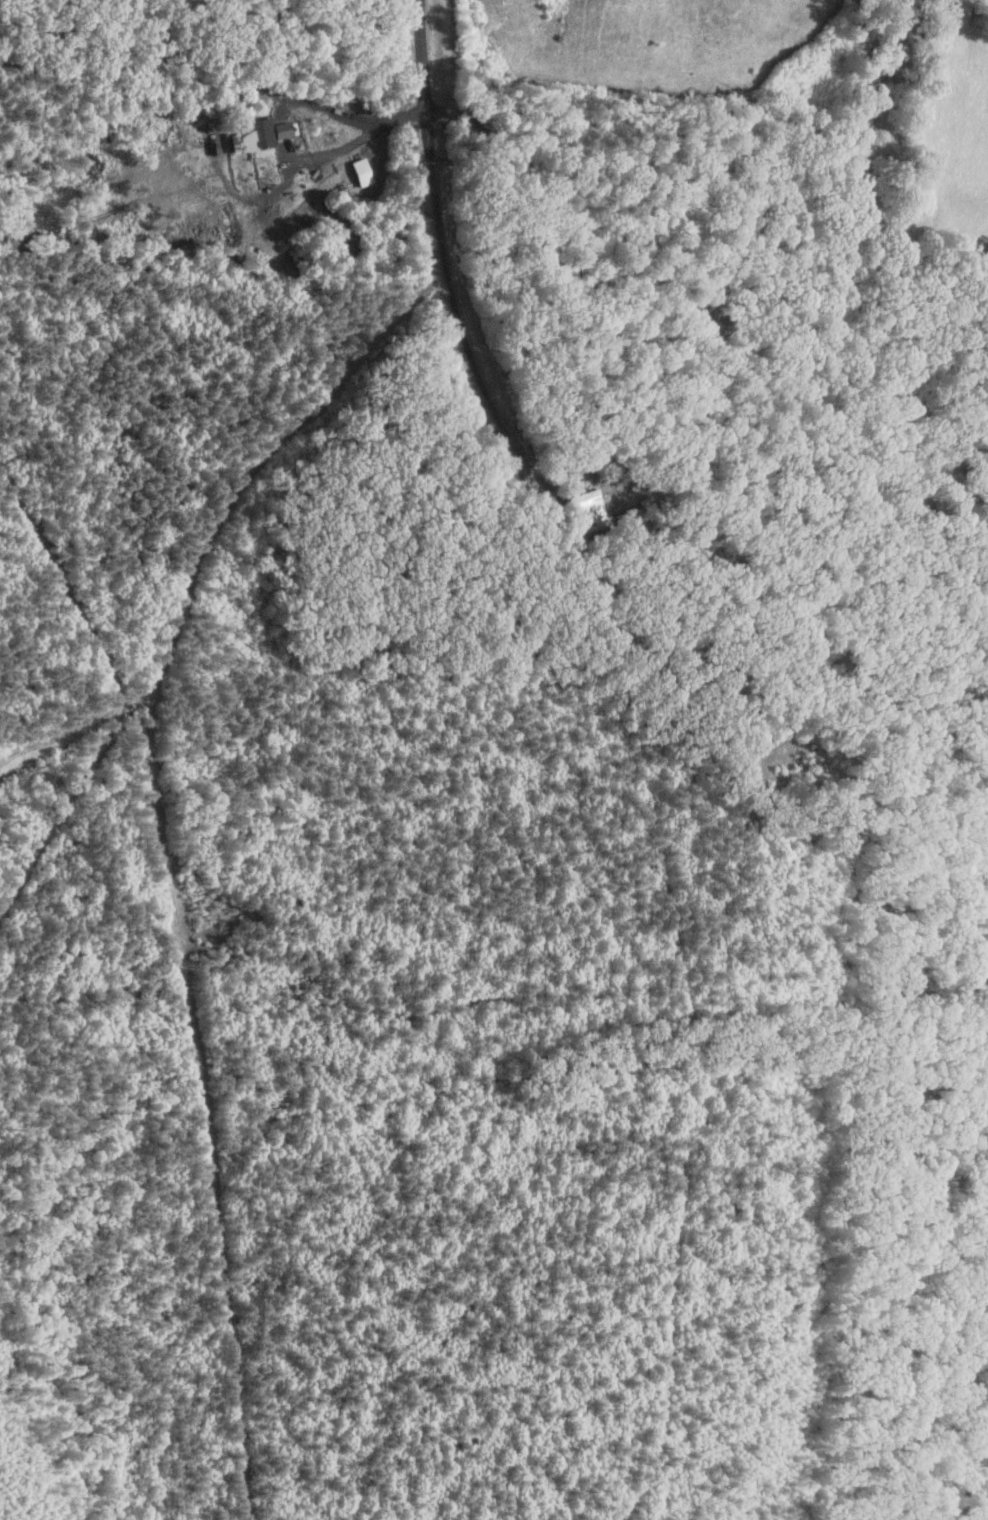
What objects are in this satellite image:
road: (319, 124)
building: (246, 137)
road: (433, 217)

